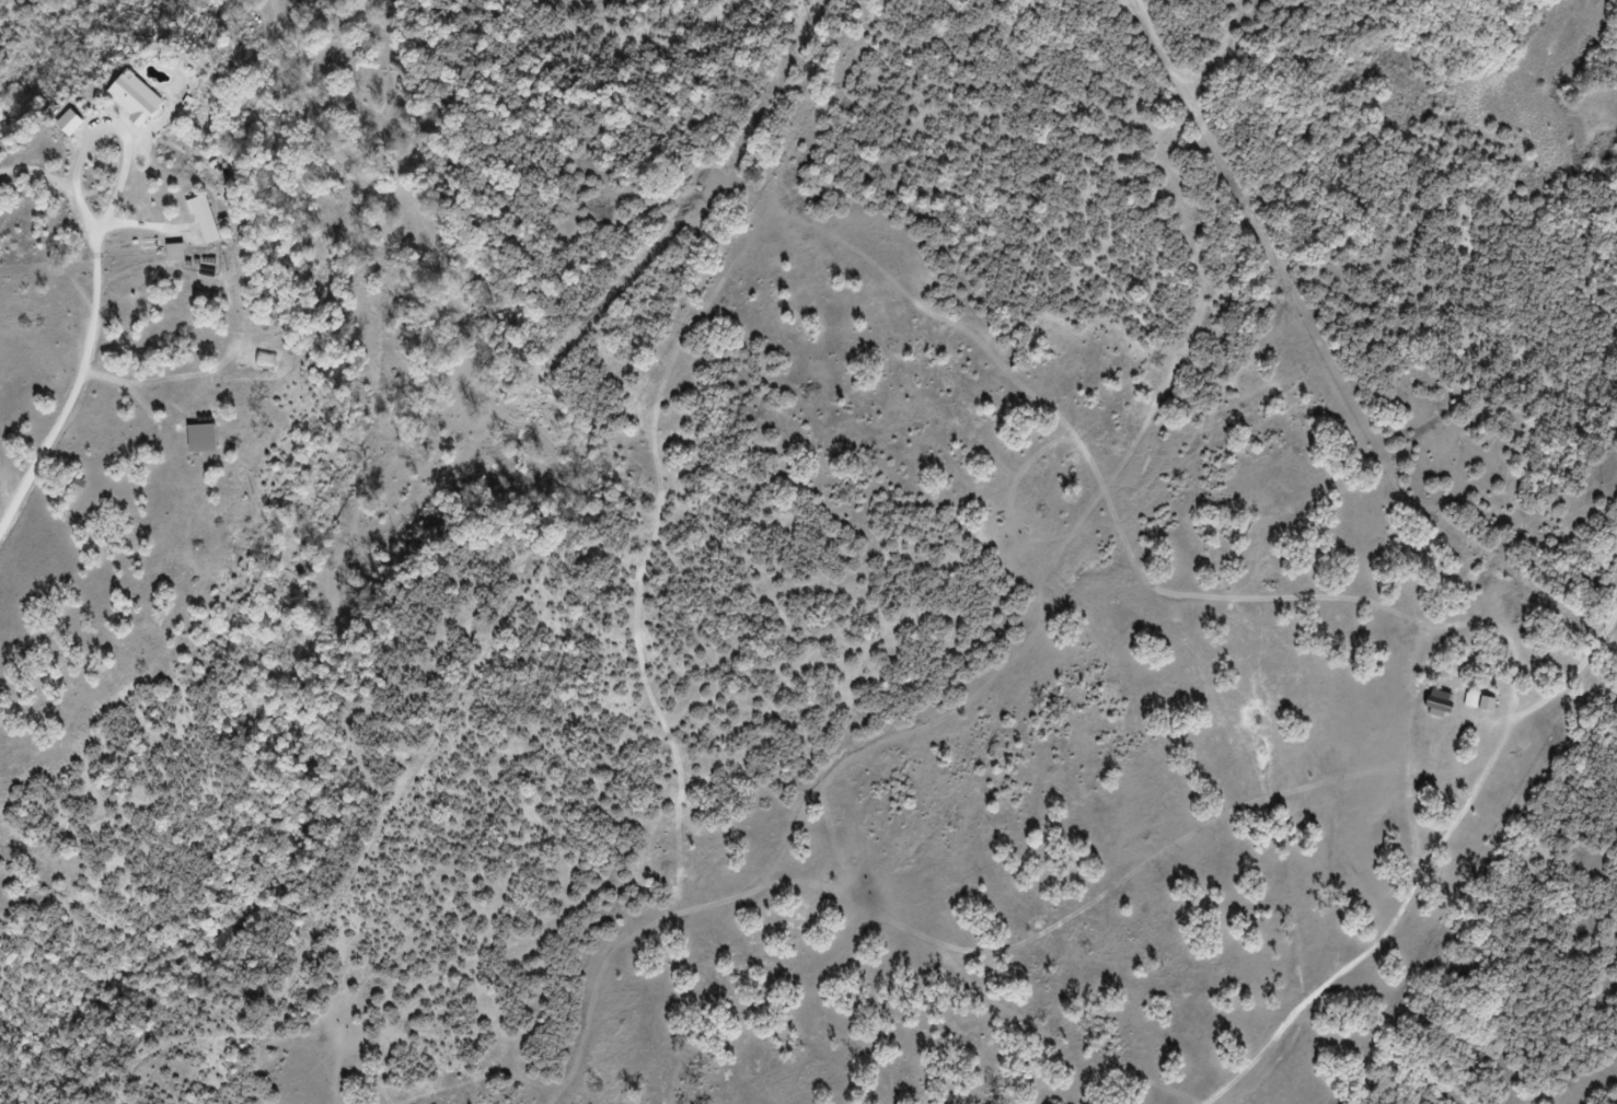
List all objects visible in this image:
building: (123, 103)
building: (59, 128)
road: (41, 174)
road: (77, 184)
building: (194, 225)
building: (164, 258)
road: (124, 386)
building: (190, 444)
road: (42, 460)
building: (1476, 710)

